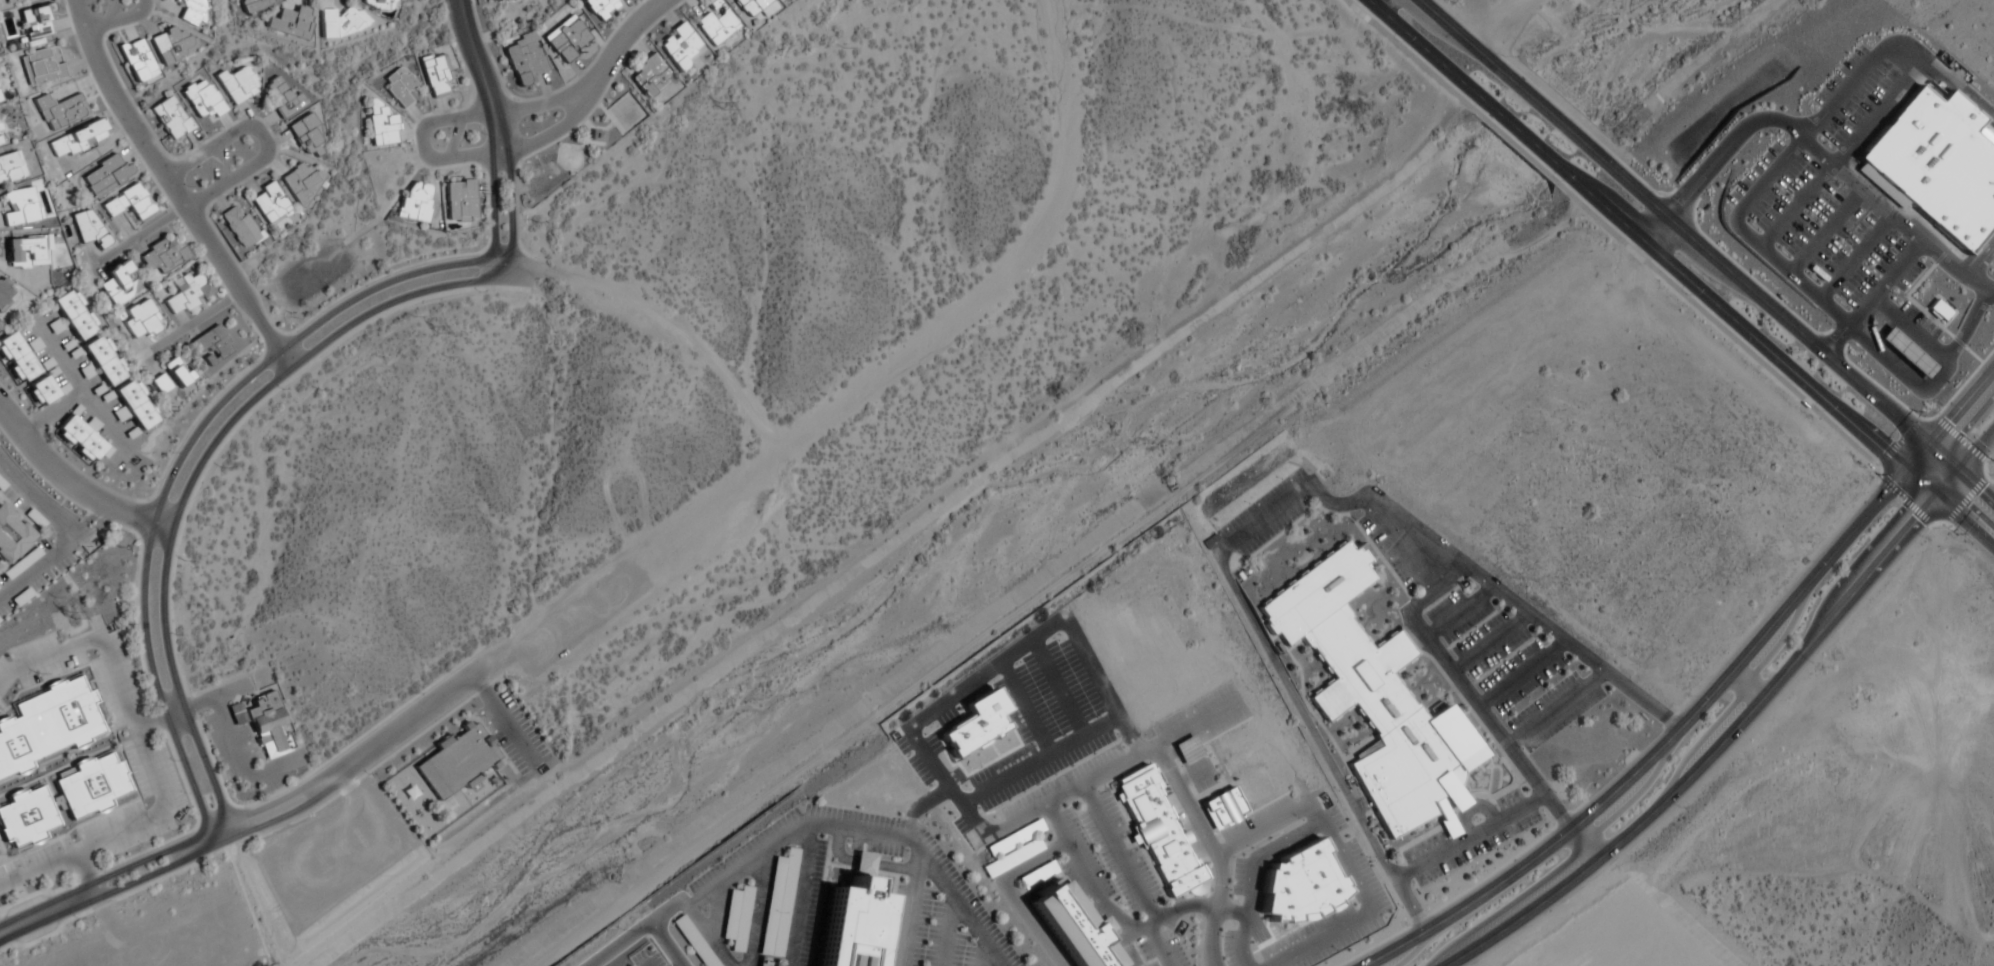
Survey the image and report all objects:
building: (14, 1)
building: (256, 4)
building: (379, 5)
street lamp: (474, 5)
building: (751, 6)
street lamp: (92, 8)
building: (600, 8)
building: (191, 11)
road: (118, 19)
road: (1492, 19)
building: (36, 22)
building: (341, 22)
building: (289, 23)
building: (716, 27)
building: (566, 39)
road: (1464, 40)
street lamp: (1397, 42)
building: (171, 45)
building: (679, 46)
road: (1431, 56)
street lamp: (1503, 57)
building: (524, 59)
building: (136, 61)
building: (42, 68)
street lamp: (619, 71)
road: (481, 75)
building: (435, 76)
building: (648, 76)
building: (237, 85)
building: (398, 87)
parking lot: (1851, 94)
building: (282, 98)
building: (202, 99)
building: (0, 101)
power tower: (715, 107)
road: (1980, 108)
building: (60, 111)
road: (1548, 112)
road: (572, 113)
road: (478, 115)
building: (171, 120)
building: (380, 126)
street lamp: (484, 135)
building: (306, 137)
road: (262, 138)
building: (1, 139)
building: (78, 140)
road: (1532, 144)
road: (1812, 147)
road: (1840, 155)
road: (1780, 163)
building: (1937, 164)
building: (11, 167)
building: (106, 175)
building: (301, 182)
street lamp: (1556, 182)
street lamp: (187, 187)
road: (174, 189)
street lamp: (1660, 194)
building: (460, 201)
building: (129, 203)
building: (269, 204)
building: (415, 204)
road: (510, 206)
building: (20, 208)
parking lot: (1820, 225)
building: (239, 228)
building: (89, 229)
road: (1825, 231)
road: (135, 239)
building: (28, 252)
building: (163, 256)
road: (1856, 257)
road: (1979, 259)
road: (502, 271)
road: (1884, 282)
building: (118, 283)
street lamp: (357, 285)
building: (4, 293)
street lamp: (478, 293)
building: (187, 294)
street lamp: (1687, 296)
road: (1771, 308)
building: (1939, 310)
street lamp: (1793, 311)
building: (75, 315)
road: (1927, 316)
building: (142, 321)
road: (189, 324)
road: (1737, 324)
road: (1969, 325)
power tower: (441, 329)
road: (1836, 338)
building: (213, 351)
building: (1906, 353)
gas station: (1906, 353)
building: (16, 359)
building: (105, 361)
building: (178, 372)
road: (1937, 378)
building: (159, 384)
road: (75, 387)
street lamp: (281, 390)
building: (41, 392)
building: (136, 405)
street lamp: (1943, 406)
road: (1963, 409)
street lamp: (1819, 412)
road: (100, 418)
building: (82, 438)
road: (1978, 449)
street lamp: (171, 453)
road: (1920, 459)
road: (176, 465)
road: (192, 476)
road: (1978, 482)
road: (73, 486)
road: (1951, 508)
road: (106, 511)
road: (101, 516)
road: (74, 534)
building: (11, 535)
street lamp: (1922, 538)
street lamp: (1807, 562)
building: (21, 564)
road: (1425, 605)
road: (1459, 613)
power tower: (74, 614)
street lamp: (175, 636)
street lamp: (125, 641)
road: (1490, 645)
street lamp: (1812, 664)
street lamp: (137, 674)
road: (1521, 676)
road: (477, 678)
street lamp: (62, 679)
street lamp: (1690, 697)
building: (1373, 698)
street lamp: (147, 703)
street lamp: (9, 710)
road: (1556, 711)
road: (159, 717)
road: (510, 723)
building: (47, 724)
building: (267, 725)
parking lot: (517, 733)
road: (1725, 739)
road: (1662, 748)
road: (147, 757)
street lamp: (171, 761)
building: (462, 762)
road: (1101, 771)
building: (91, 785)
street lamp: (1338, 792)
building: (1223, 808)
street lamp: (1680, 808)
building: (26, 816)
road: (245, 817)
road: (250, 832)
street lamp: (1527, 832)
street lamp: (1544, 833)
building: (1160, 837)
street lamp: (1495, 849)
road: (1444, 852)
road: (924, 860)
street lamp: (1373, 862)
road: (860, 863)
road: (1023, 865)
street lamp: (1466, 865)
road: (84, 877)
street lamp: (1435, 883)
parking lot: (750, 884)
road: (716, 885)
road: (797, 894)
building: (777, 902)
street lamp: (1402, 909)
road: (714, 910)
road: (754, 910)
road: (908, 911)
road: (1106, 912)
building: (735, 916)
building: (852, 920)
road: (1153, 924)
street lamp: (1405, 926)
building: (1074, 929)
road: (640, 931)
road: (946, 931)
road: (1210, 937)
building: (693, 940)
road: (666, 945)
building: (1638, 950)
street lamp: (1, 954)
road: (982, 954)

